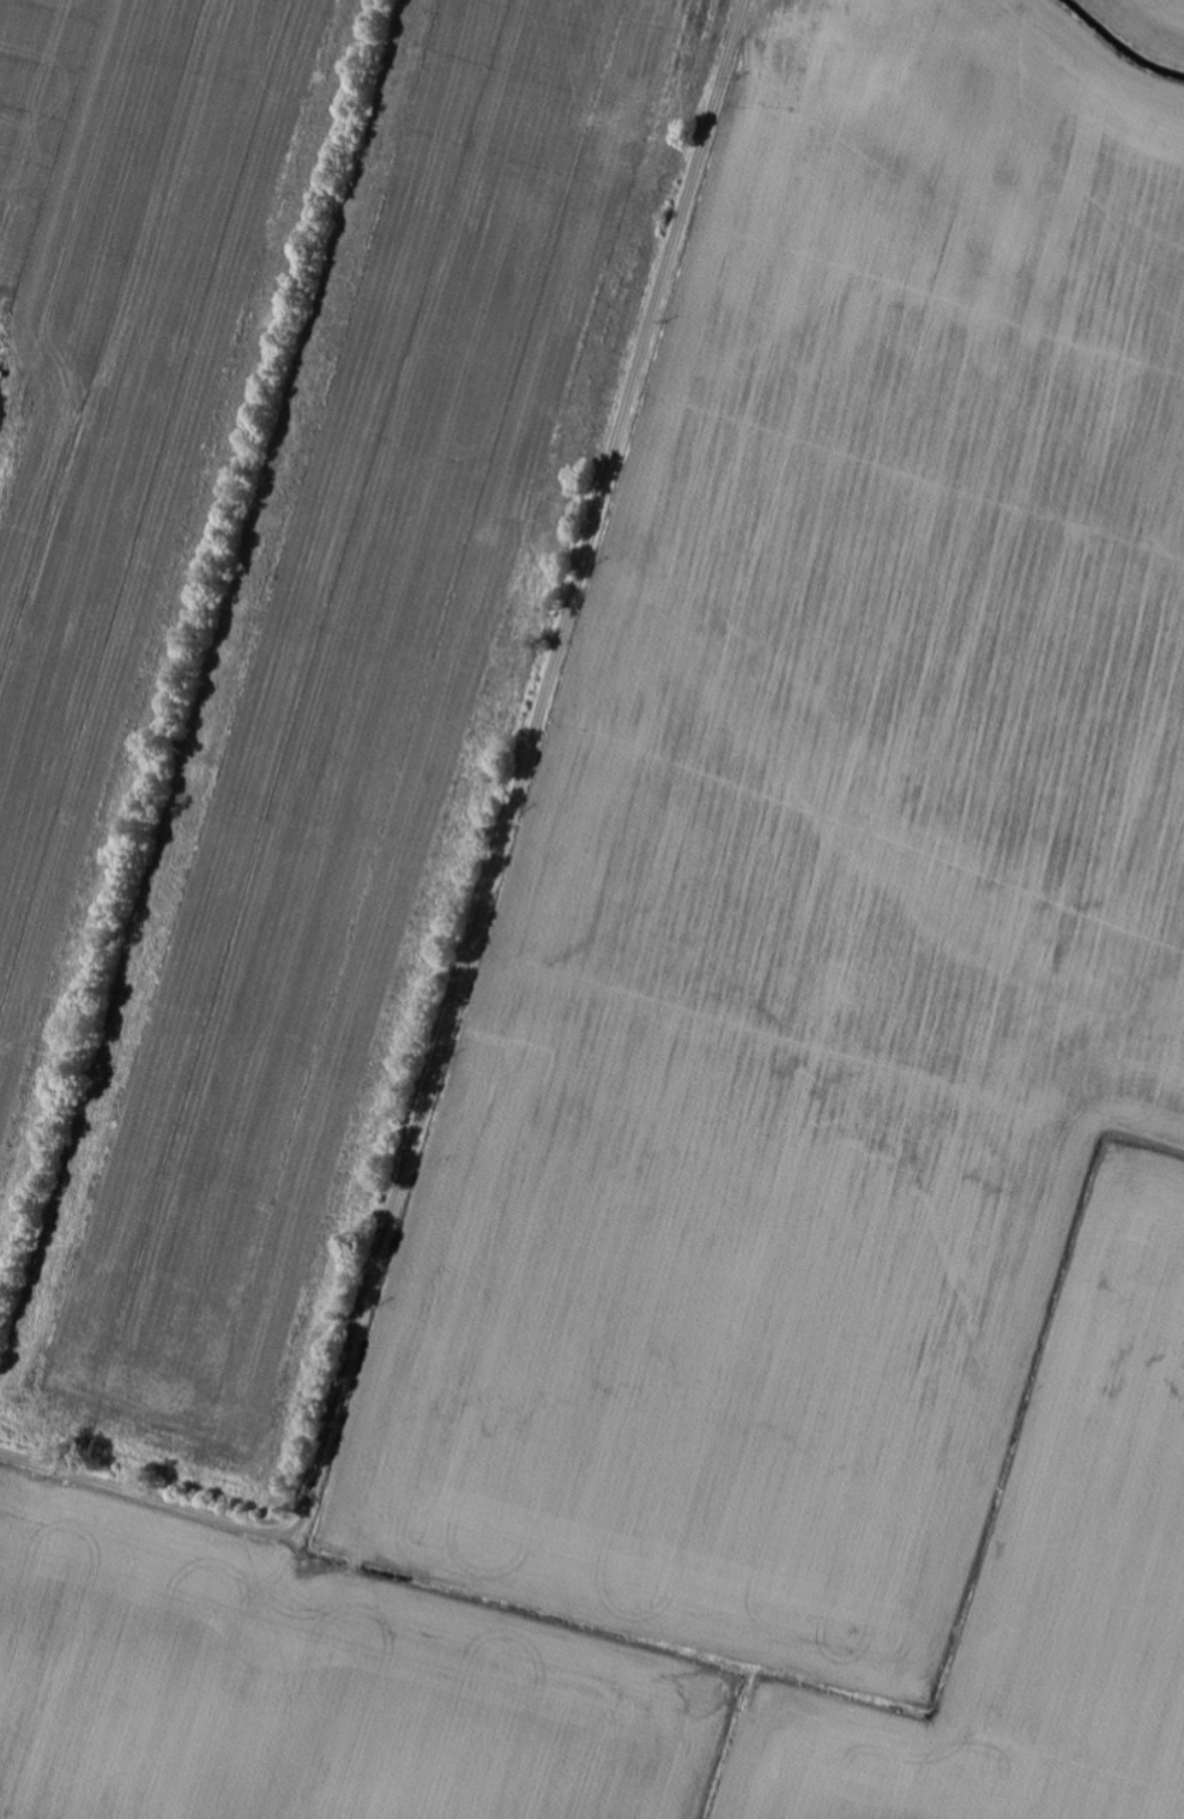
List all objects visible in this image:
road: (481, 910)

